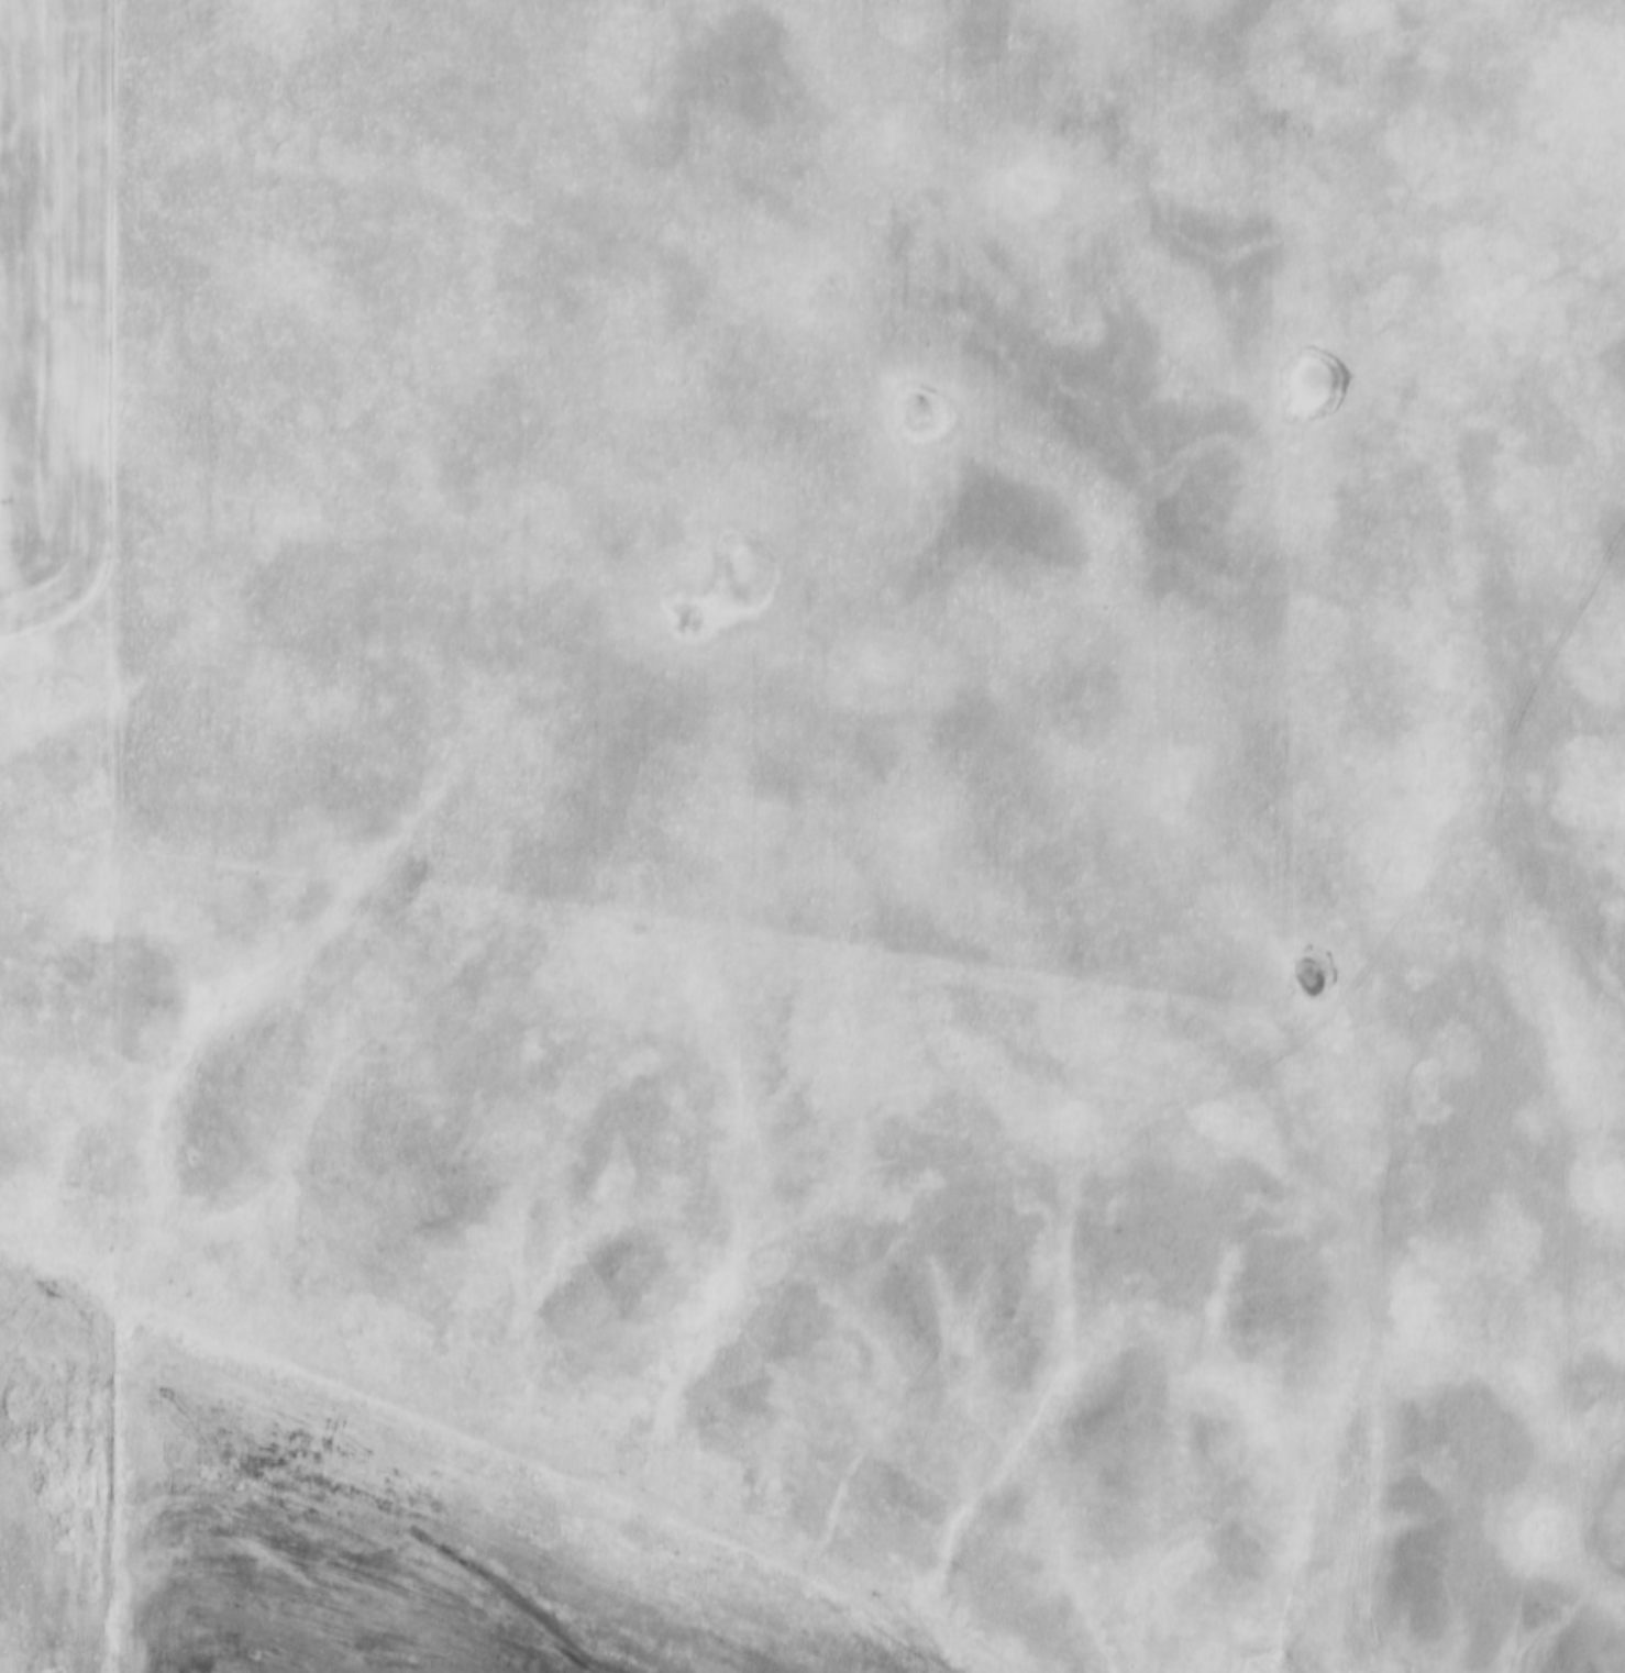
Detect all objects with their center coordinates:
quarry: (1605, 1516)

